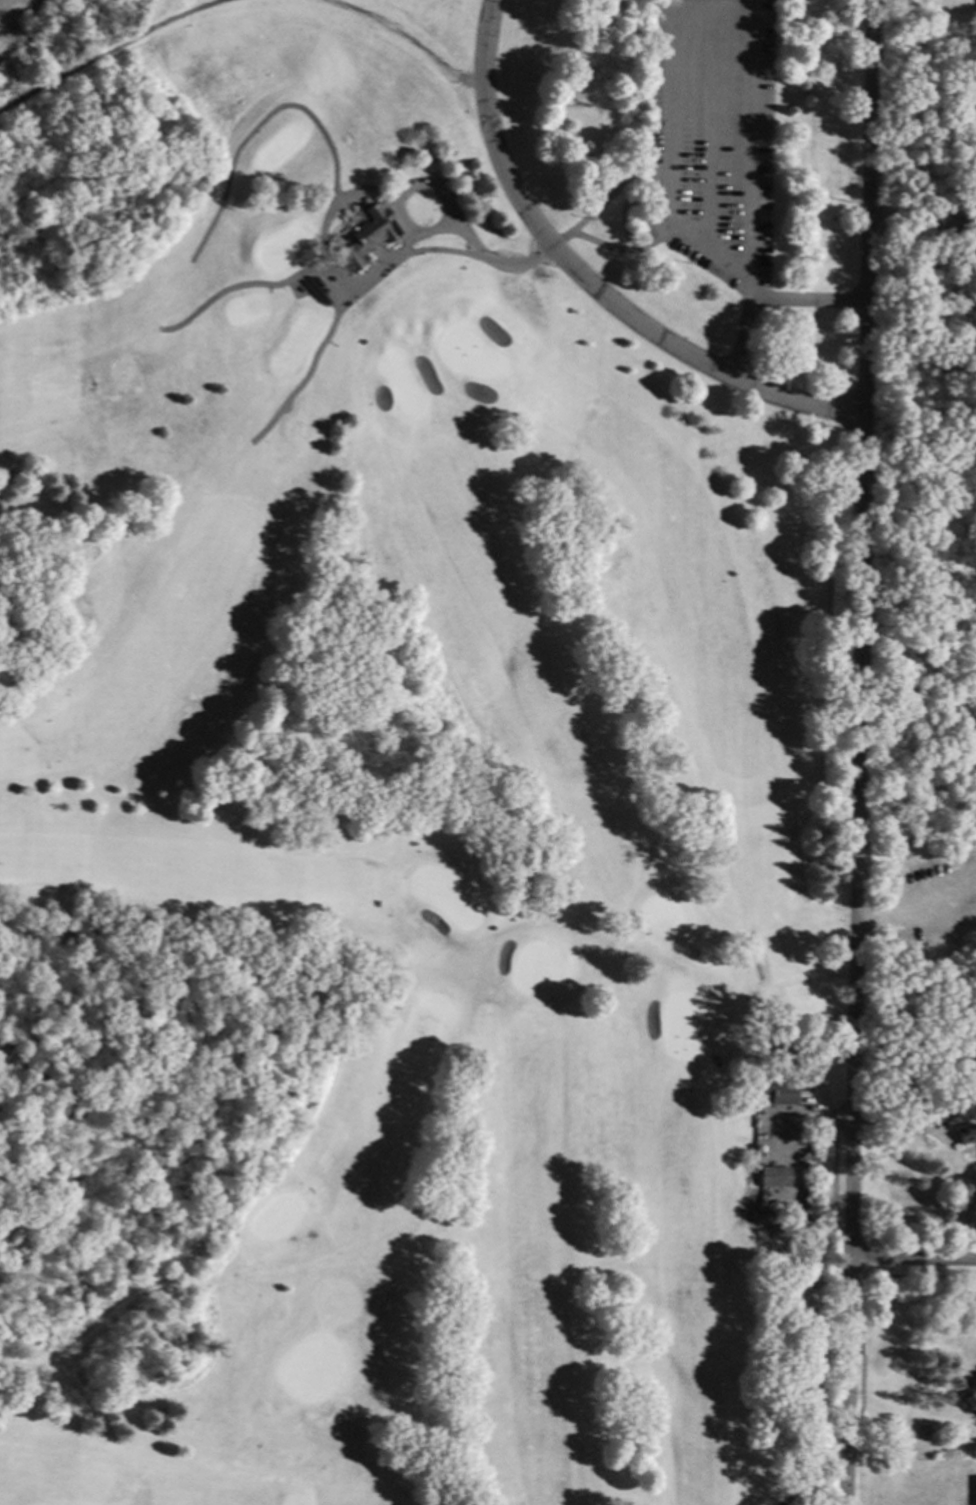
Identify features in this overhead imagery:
road: (219, 0)
road: (407, 38)
road: (109, 51)
road: (255, 126)
road: (708, 126)
parking lot: (713, 137)
road: (750, 189)
road: (400, 191)
road: (605, 199)
parking lot: (966, 217)
road: (666, 222)
road: (921, 222)
building: (369, 235)
road: (623, 249)
road: (444, 251)
road: (493, 261)
road: (298, 274)
road: (586, 279)
road: (323, 289)
road: (328, 334)
park: (925, 587)
park: (424, 748)
road: (856, 752)
park: (426, 772)
road: (914, 911)
building: (355, 987)
building: (779, 1091)
road: (797, 1115)
building: (966, 1134)
road: (807, 1156)
building: (774, 1176)
road: (913, 1258)
road: (816, 1359)
building: (970, 1398)
building: (923, 1430)

